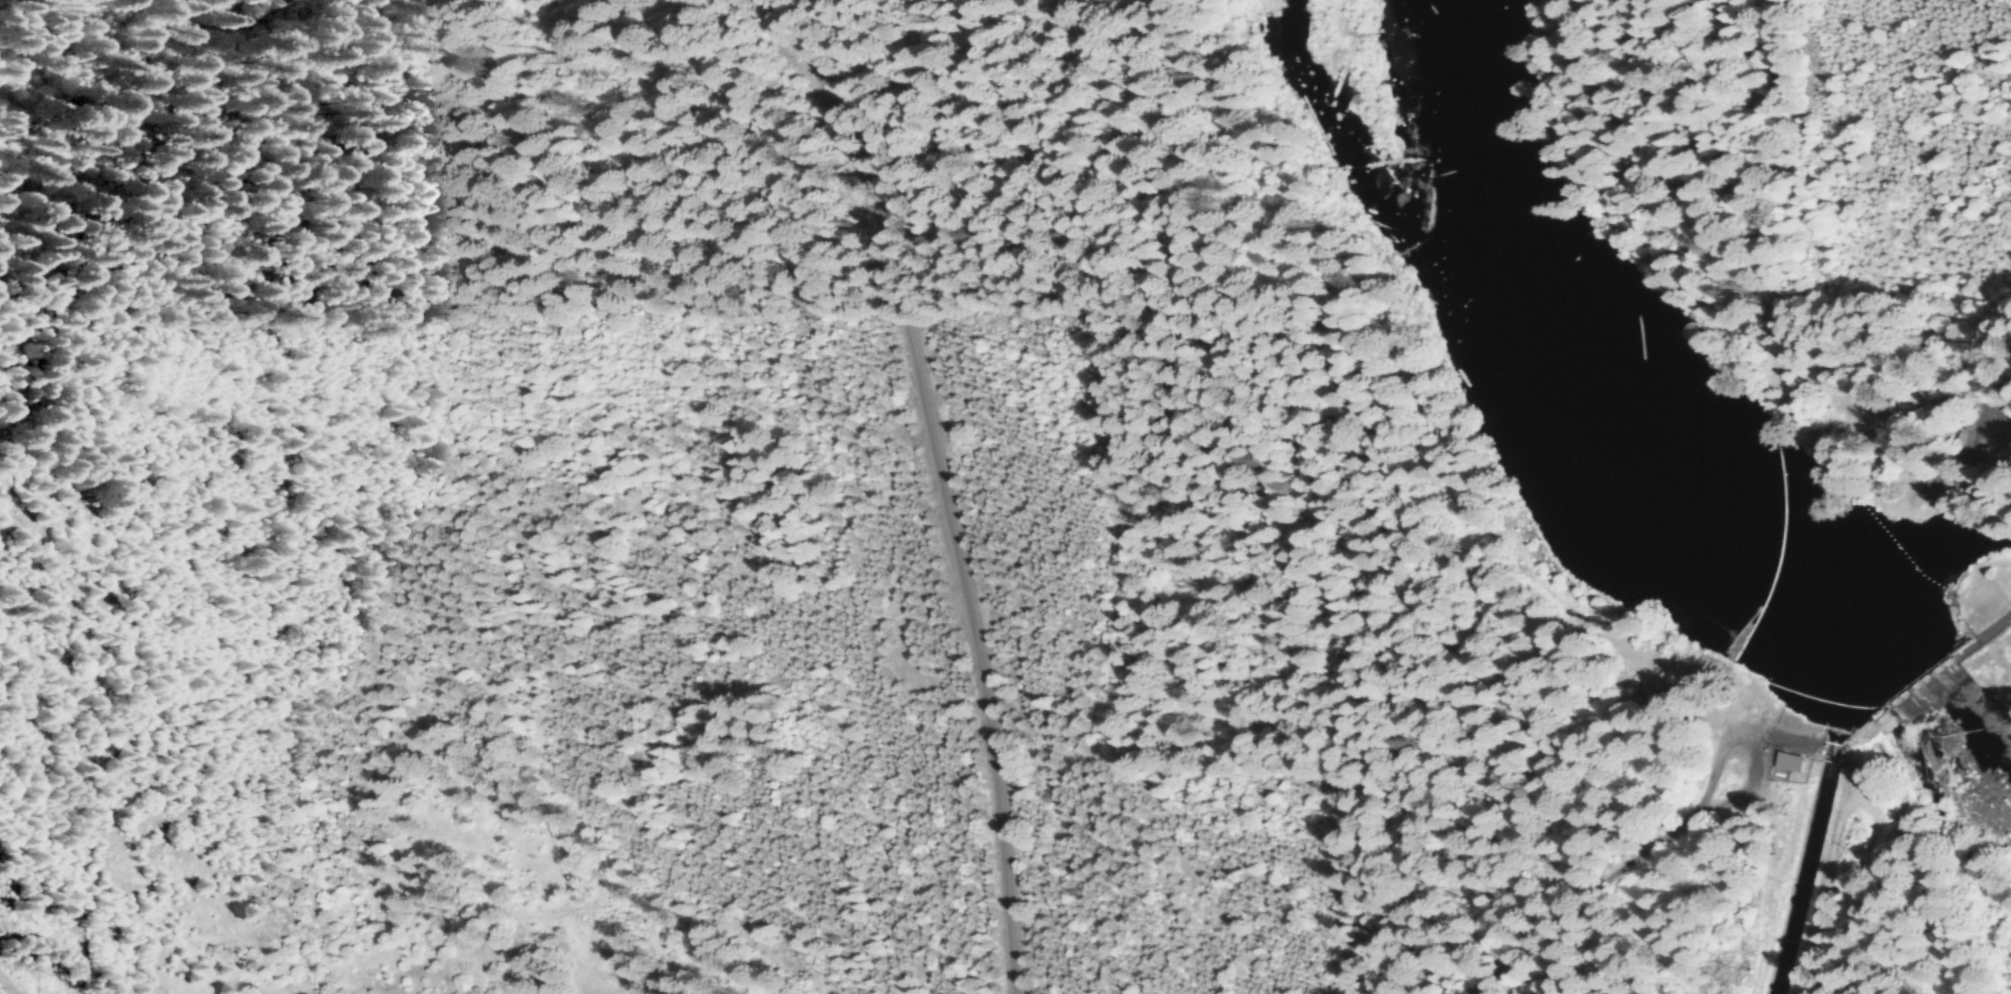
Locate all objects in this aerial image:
river: (1647, 440)
road: (943, 485)
dam: (1907, 691)

